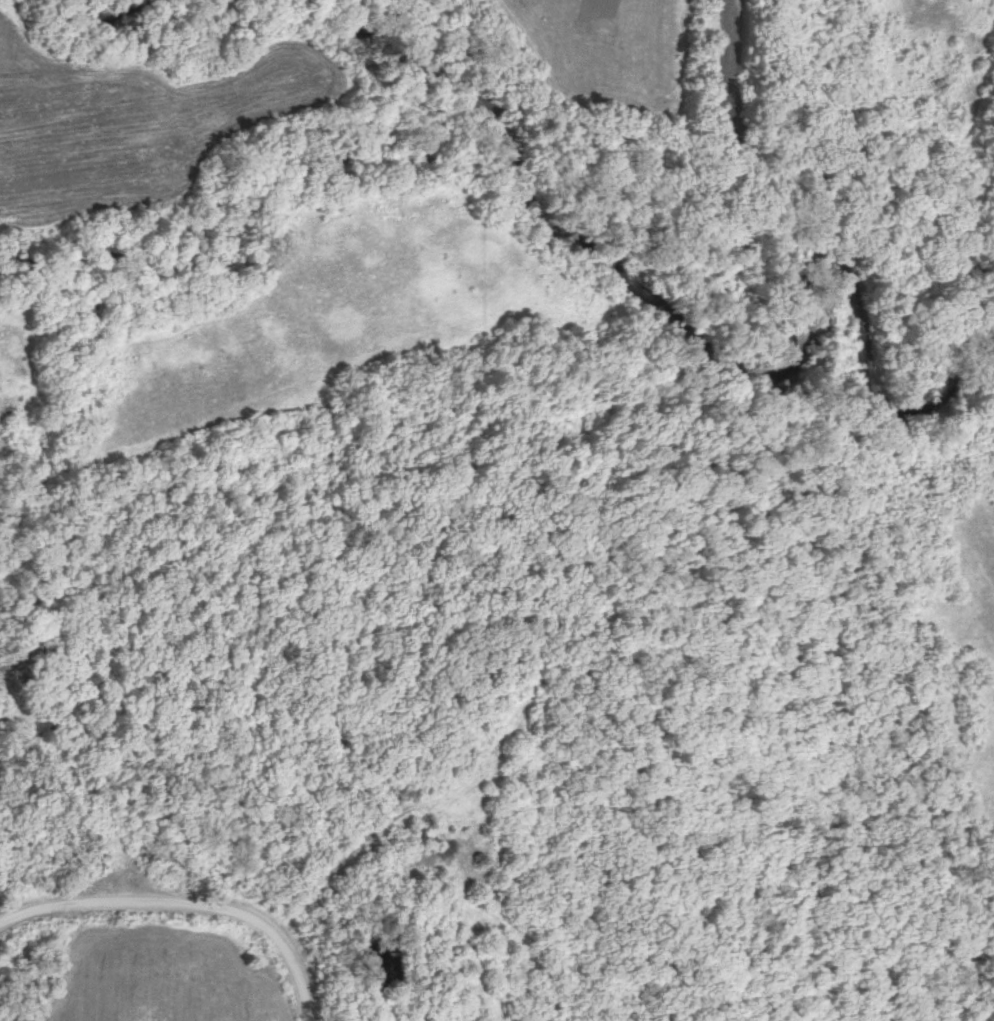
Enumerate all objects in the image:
road: (186, 906)

